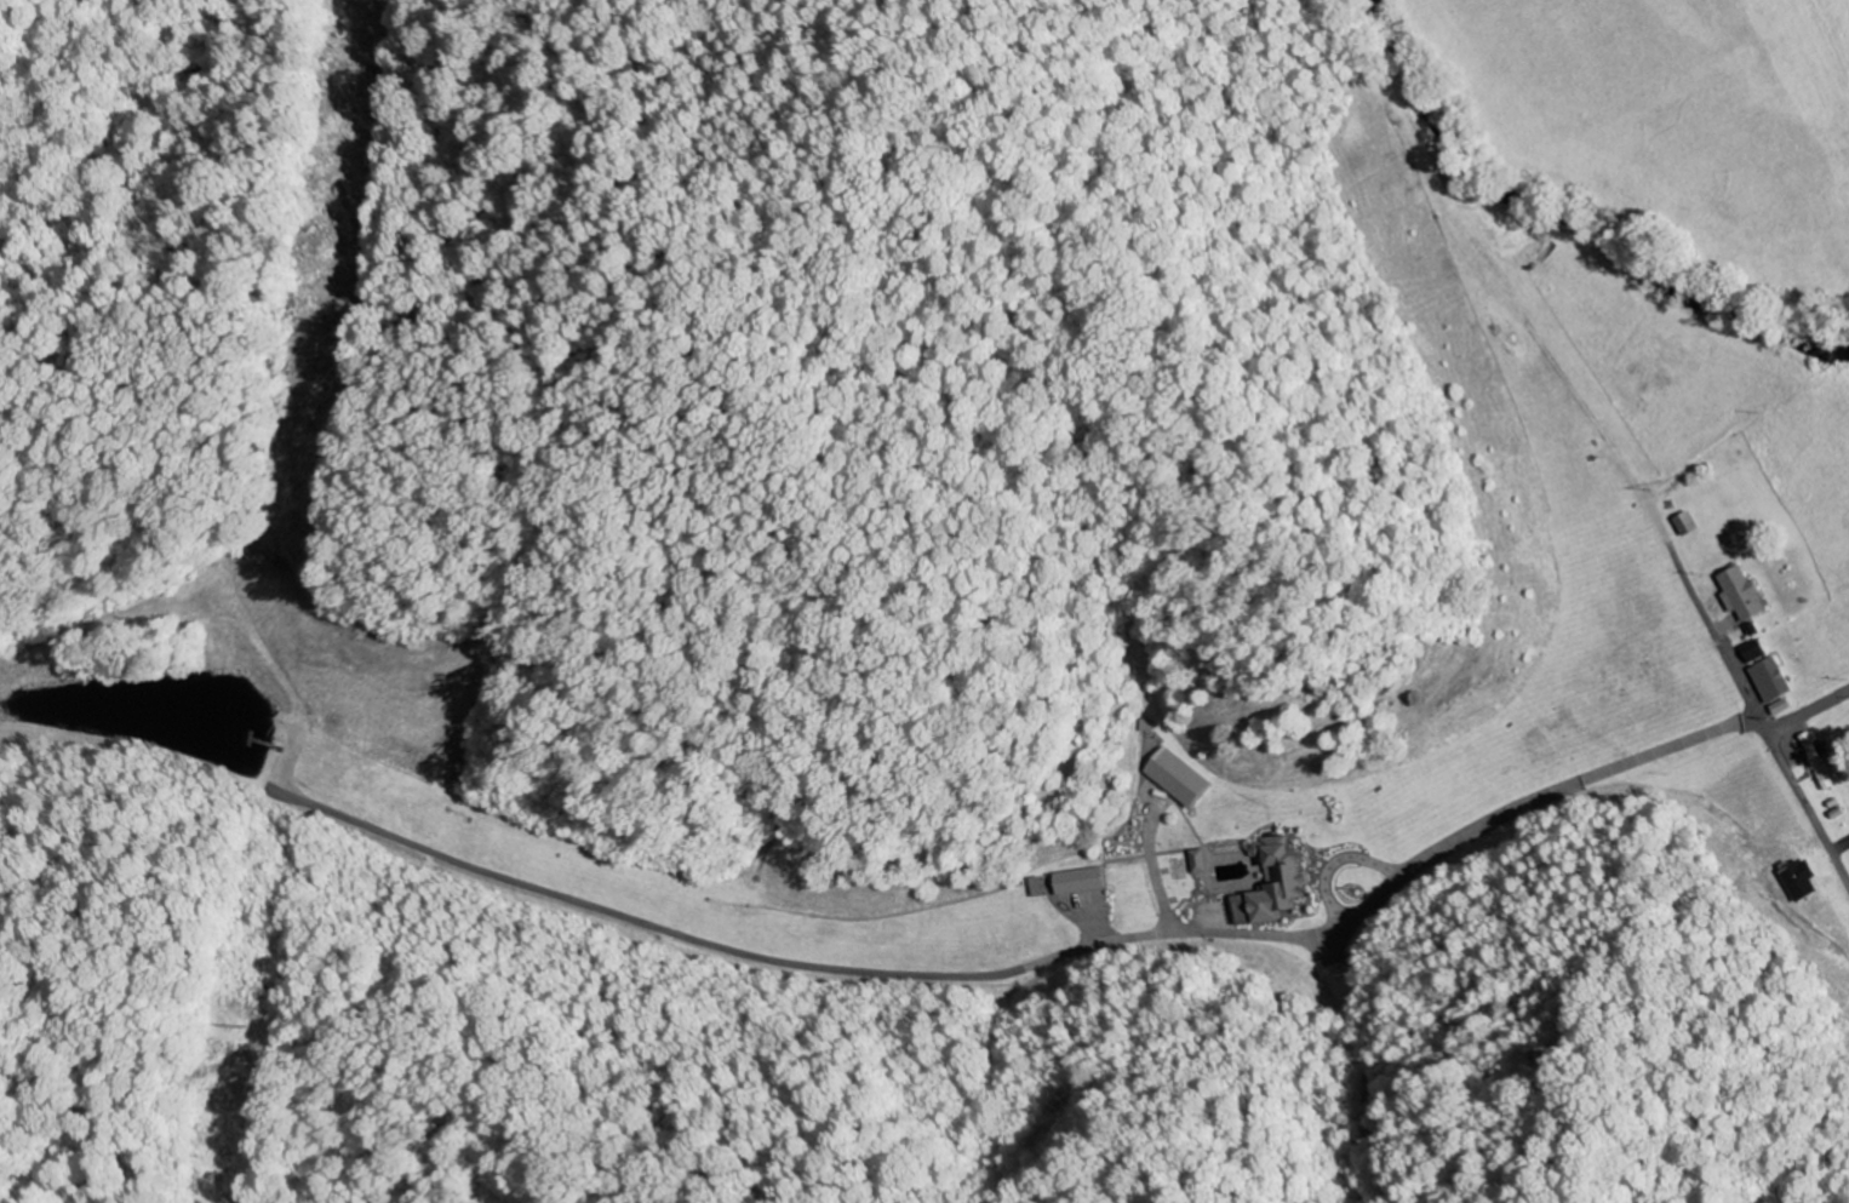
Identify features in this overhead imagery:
river: (1562, 222)
power tower: (311, 320)
road: (1544, 346)
river: (1845, 355)
building: (1688, 525)
building: (1744, 595)
building: (1757, 652)
road: (1738, 677)
building: (1775, 686)
road: (1809, 711)
building: (1820, 762)
building: (1173, 777)
building: (1204, 863)
building: (1282, 875)
building: (1074, 880)
building: (1802, 881)
building: (1042, 888)
road: (1008, 973)
power tower: (221, 1027)

